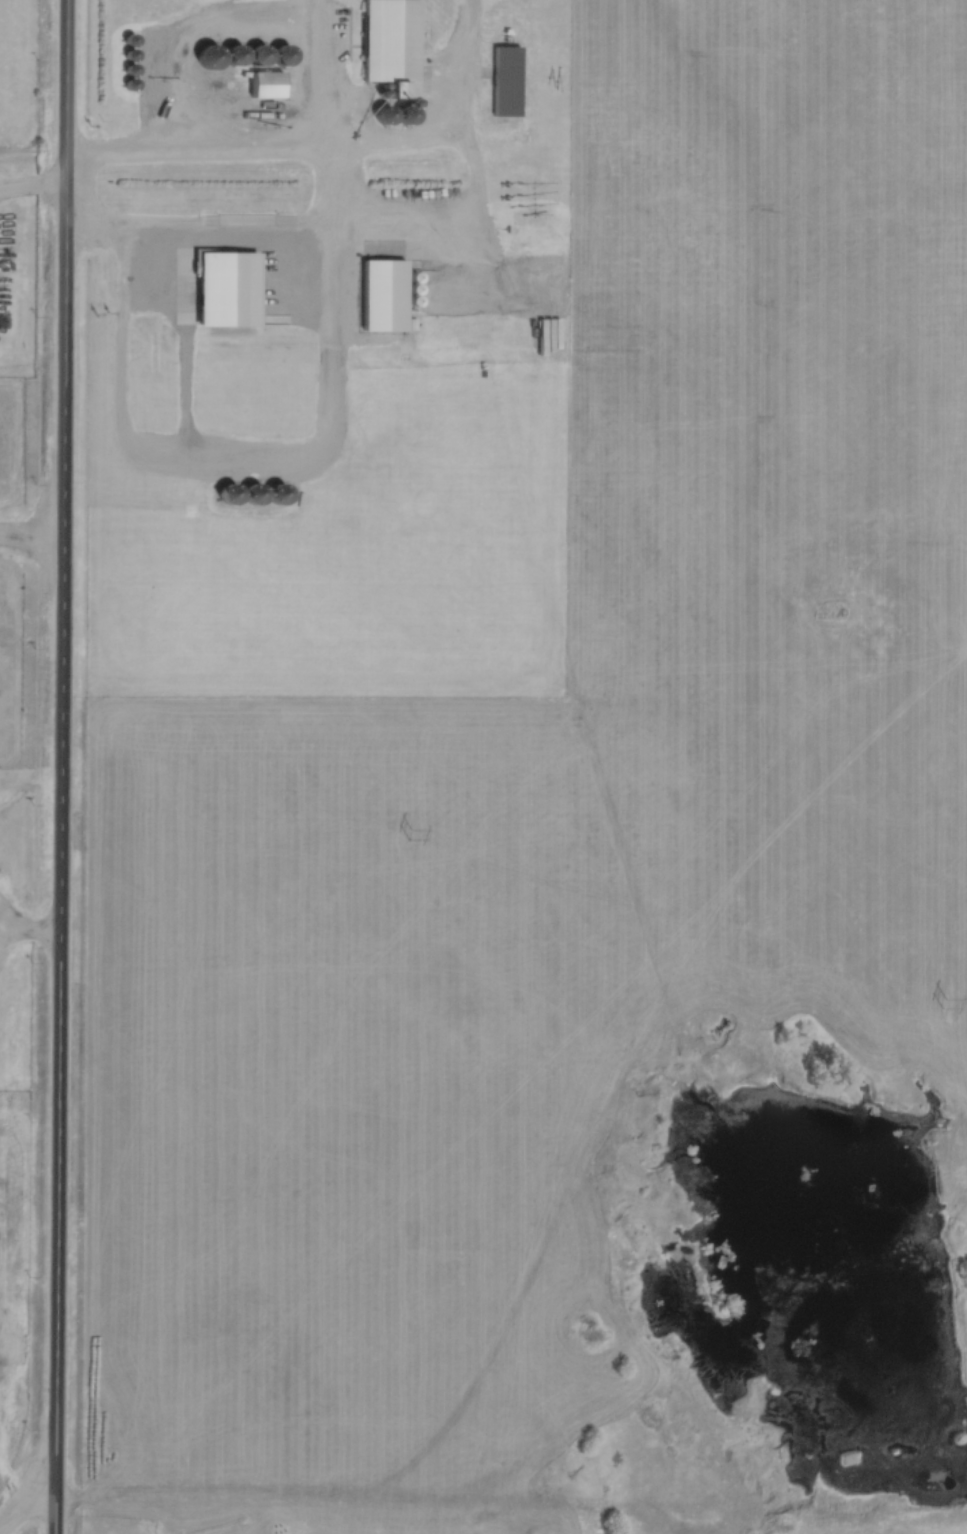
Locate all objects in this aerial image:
building: (389, 47)
building: (256, 55)
building: (205, 58)
building: (504, 82)
building: (129, 84)
building: (265, 86)
road: (33, 191)
road: (63, 767)
power tower: (411, 834)
power tower: (945, 1004)
road: (27, 1496)

